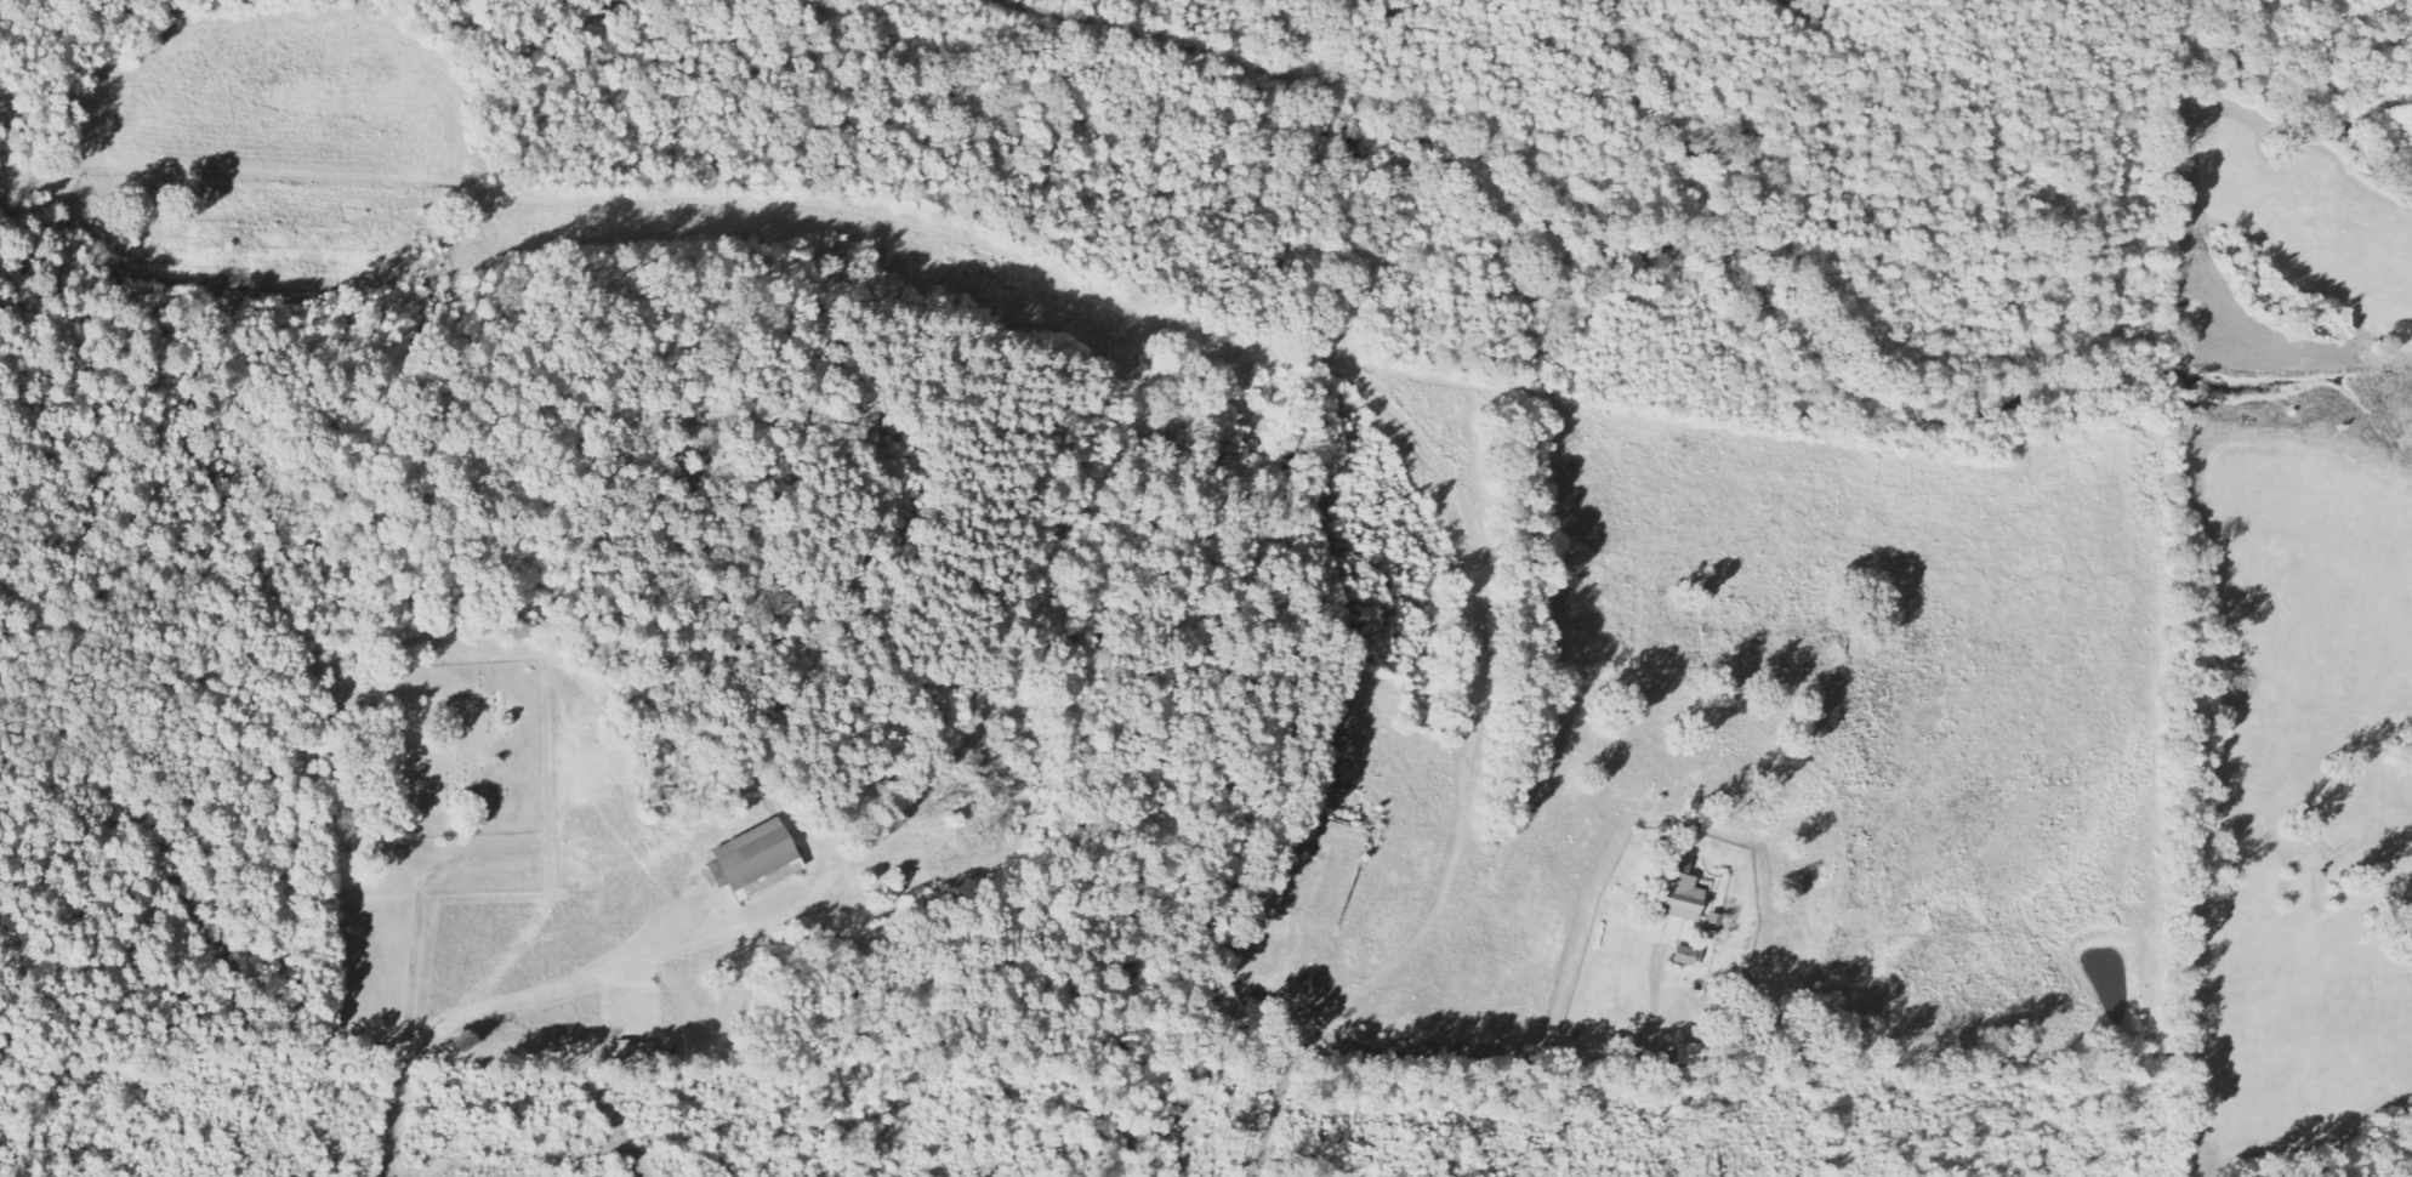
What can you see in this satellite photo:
road: (1353, 581)
park: (431, 777)
building: (761, 860)
building: (1684, 897)
building: (1718, 923)
building: (1689, 956)
road: (1297, 994)
building: (638, 1050)
building: (1695, 1053)

